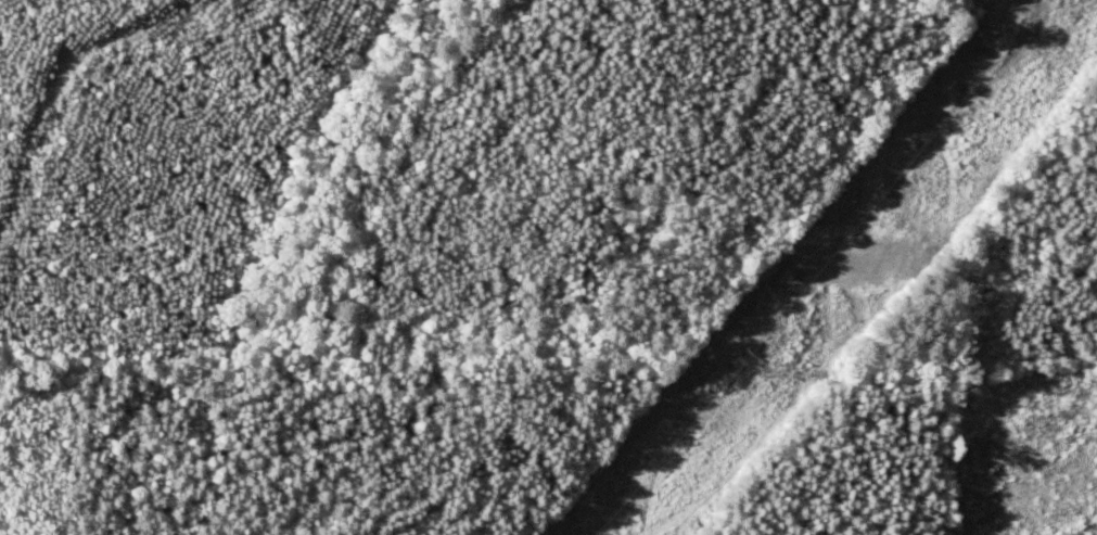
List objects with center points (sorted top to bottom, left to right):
power tower: (755, 354)

